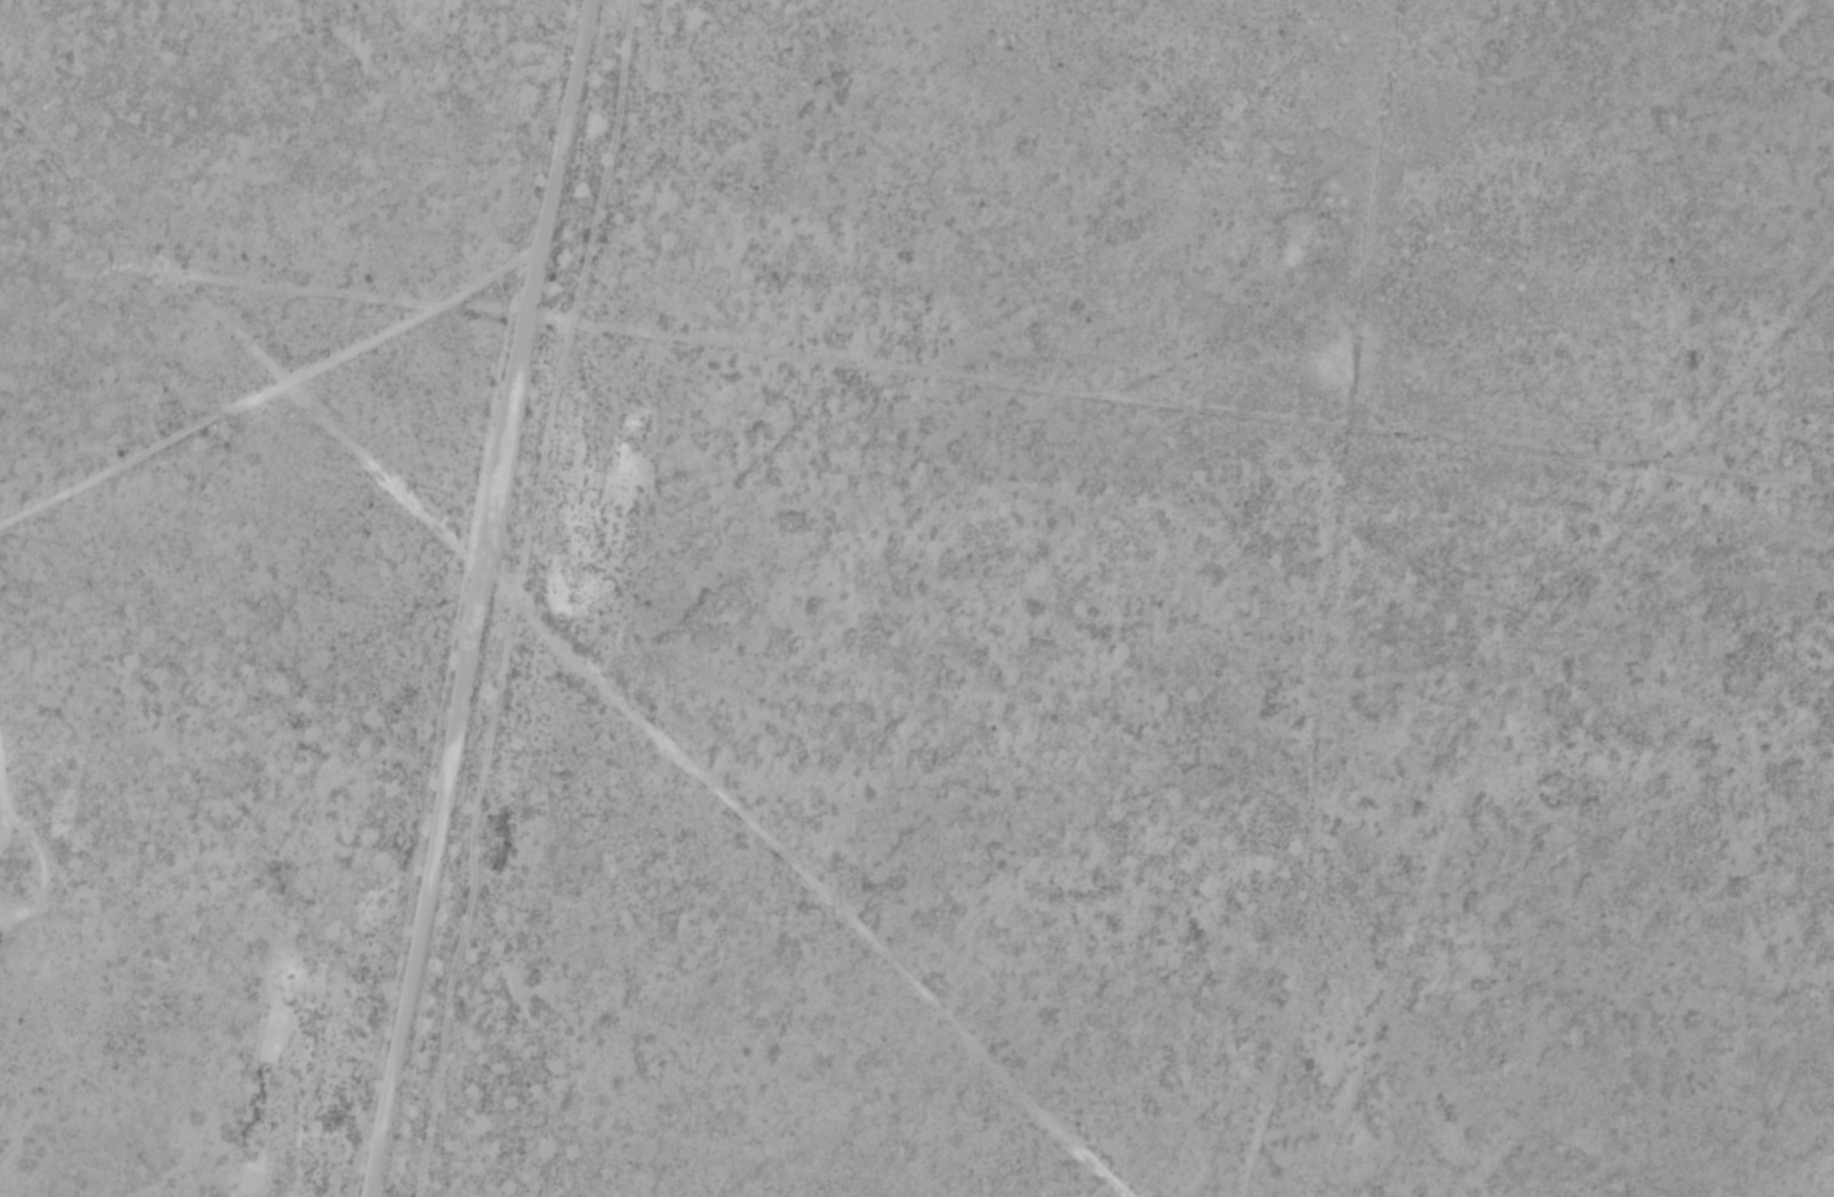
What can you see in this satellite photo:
road: (507, 300)
road: (553, 699)
road: (394, 897)

